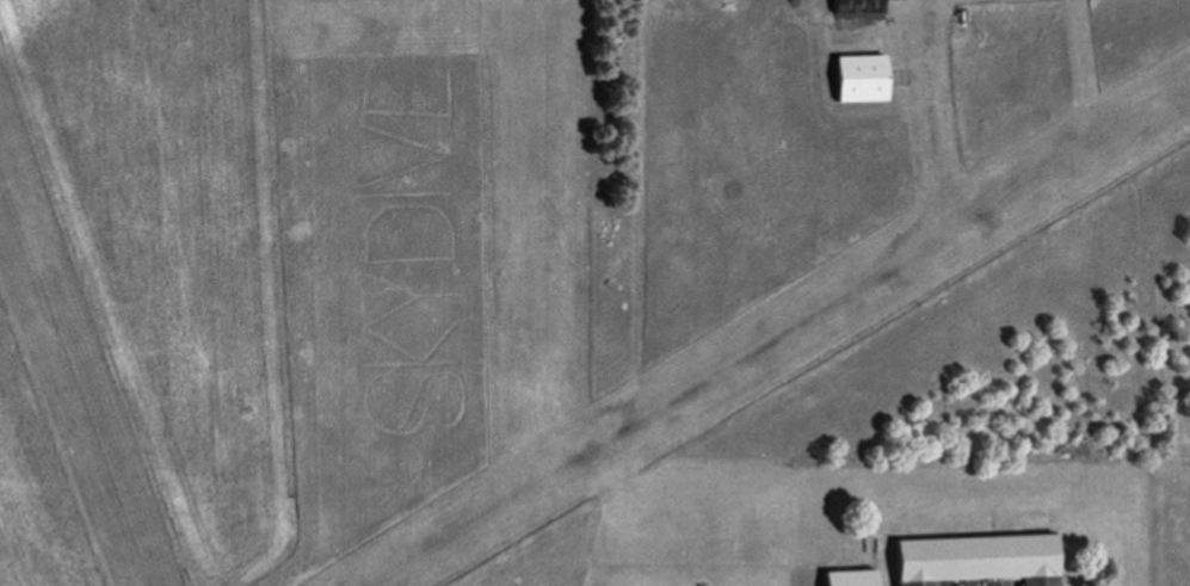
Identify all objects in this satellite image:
building: (856, 6)
building: (859, 78)
airport: (584, 290)
airport runway: (785, 339)
building: (976, 560)
building: (849, 578)

